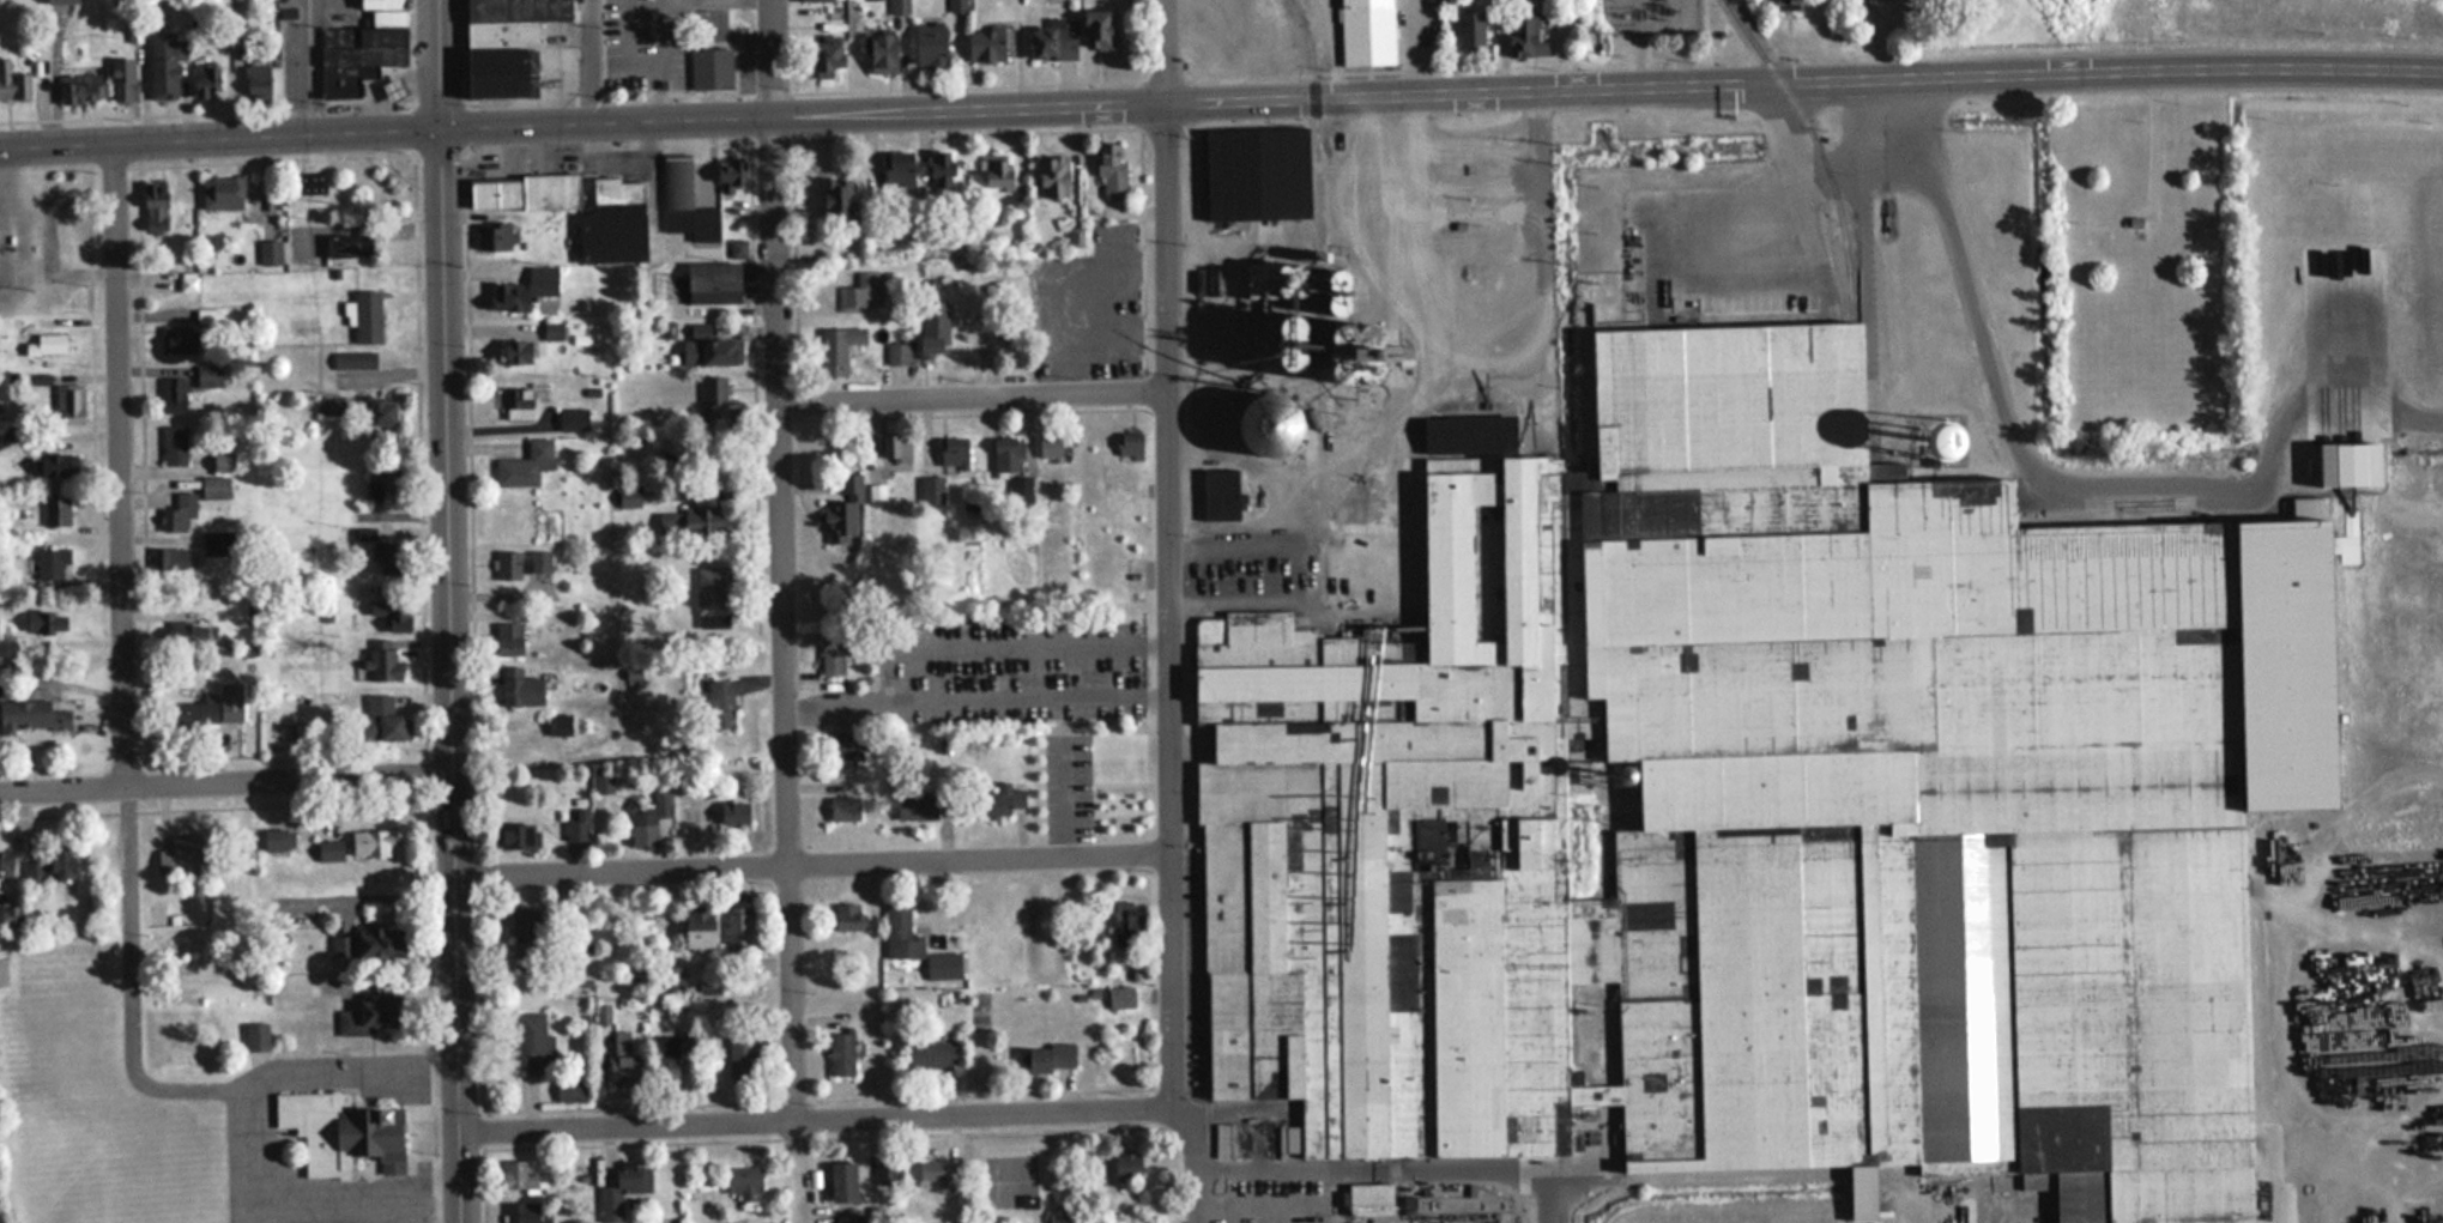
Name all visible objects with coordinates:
building: (812, 0)
building: (59, 1)
building: (380, 4)
building: (956, 6)
building: (1784, 6)
building: (899, 7)
building: (1634, 13)
building: (387, 16)
building: (1469, 29)
building: (1095, 30)
building: (1365, 32)
building: (362, 35)
building: (1522, 36)
building: (1048, 42)
building: (504, 44)
building: (927, 46)
building: (984, 46)
road: (1166, 50)
building: (878, 54)
building: (362, 55)
building: (824, 57)
road: (592, 60)
building: (163, 62)
road: (439, 63)
road: (310, 66)
building: (709, 68)
building: (255, 78)
building: (121, 79)
building: (344, 79)
building: (205, 80)
building: (12, 83)
building: (79, 89)
building: (392, 89)
road: (1440, 92)
road: (788, 93)
traffic signals: (440, 128)
road: (219, 138)
railway: (1807, 143)
road: (569, 147)
building: (1109, 170)
building: (996, 171)
building: (897, 172)
building: (941, 172)
building: (727, 175)
building: (1051, 176)
building: (1256, 177)
building: (310, 184)
building: (220, 193)
building: (524, 193)
building: (56, 199)
road: (773, 201)
building: (684, 202)
building: (835, 202)
building: (152, 210)
building: (612, 223)
building: (496, 235)
building: (347, 246)
building: (270, 253)
road: (800, 256)
building: (710, 277)
building: (187, 284)
building: (521, 289)
building: (861, 291)
railway: (1320, 299)
parking lot: (1093, 305)
road: (98, 309)
building: (365, 316)
building: (669, 331)
building: (177, 339)
building: (931, 339)
building: (49, 344)
building: (1378, 346)
building: (714, 347)
building: (836, 349)
building: (513, 351)
building: (896, 353)
building: (352, 361)
building: (253, 364)
water tower: (254, 365)
building: (208, 376)
road: (762, 386)
building: (173, 395)
building: (713, 395)
road: (973, 396)
building: (68, 404)
building: (518, 404)
building: (329, 405)
building: (380, 412)
road: (982, 413)
building: (572, 419)
building: (1260, 423)
storage tank: (1260, 423)
building: (1467, 434)
building: (174, 446)
building: (895, 447)
building: (1048, 448)
building: (1127, 449)
building: (953, 455)
building: (1006, 455)
building: (2346, 464)
building: (55, 465)
road: (120, 465)
building: (220, 465)
building: (524, 465)
road: (135, 471)
building: (381, 485)
building: (213, 488)
building: (1020, 491)
building: (1219, 494)
building: (629, 496)
building: (1369, 504)
building: (55, 509)
building: (843, 511)
building: (177, 513)
building: (689, 520)
building: (217, 544)
building: (385, 555)
road: (778, 555)
building: (168, 559)
building: (521, 562)
building: (50, 564)
building: (1214, 575)
building: (712, 592)
road: (1168, 606)
road: (429, 611)
road: (465, 611)
building: (392, 613)
building: (46, 622)
building: (195, 635)
building: (506, 640)
road: (1010, 647)
building: (830, 654)
building: (380, 665)
building: (631, 673)
road: (450, 676)
building: (578, 683)
building: (519, 689)
building: (229, 701)
road: (974, 702)
building: (719, 704)
building: (31, 715)
building: (181, 715)
building: (381, 719)
building: (557, 725)
building: (843, 746)
road: (202, 757)
building: (601, 780)
road: (225, 783)
building: (1119, 798)
building: (1000, 800)
building: (914, 806)
road: (216, 809)
building: (842, 809)
building: (1762, 810)
building: (734, 812)
building: (576, 824)
building: (645, 825)
building: (515, 835)
road: (250, 840)
building: (277, 840)
building: (369, 842)
building: (328, 849)
building: (5, 865)
road: (812, 865)
building: (47, 866)
road: (367, 907)
road: (786, 916)
building: (847, 916)
building: (1125, 924)
building: (737, 925)
building: (696, 926)
building: (524, 933)
building: (900, 933)
road: (2279, 942)
building: (383, 943)
road: (2365, 963)
building: (942, 965)
building: (672, 977)
building: (1120, 998)
building: (368, 1016)
building: (255, 1037)
building: (531, 1045)
building: (839, 1054)
building: (930, 1054)
building: (669, 1056)
building: (623, 1058)
building: (1042, 1058)
building: (739, 1059)
road: (151, 1086)
building: (568, 1090)
road: (830, 1100)
road: (818, 1125)
building: (339, 1133)
road: (839, 1137)
road: (1193, 1162)
building: (1126, 1166)
building: (889, 1173)
building: (931, 1176)
building: (515, 1177)
building: (742, 1182)
building: (841, 1182)
road: (2371, 1183)
building: (621, 1192)
road: (310, 1198)
building: (1368, 1199)
building: (525, 1212)

